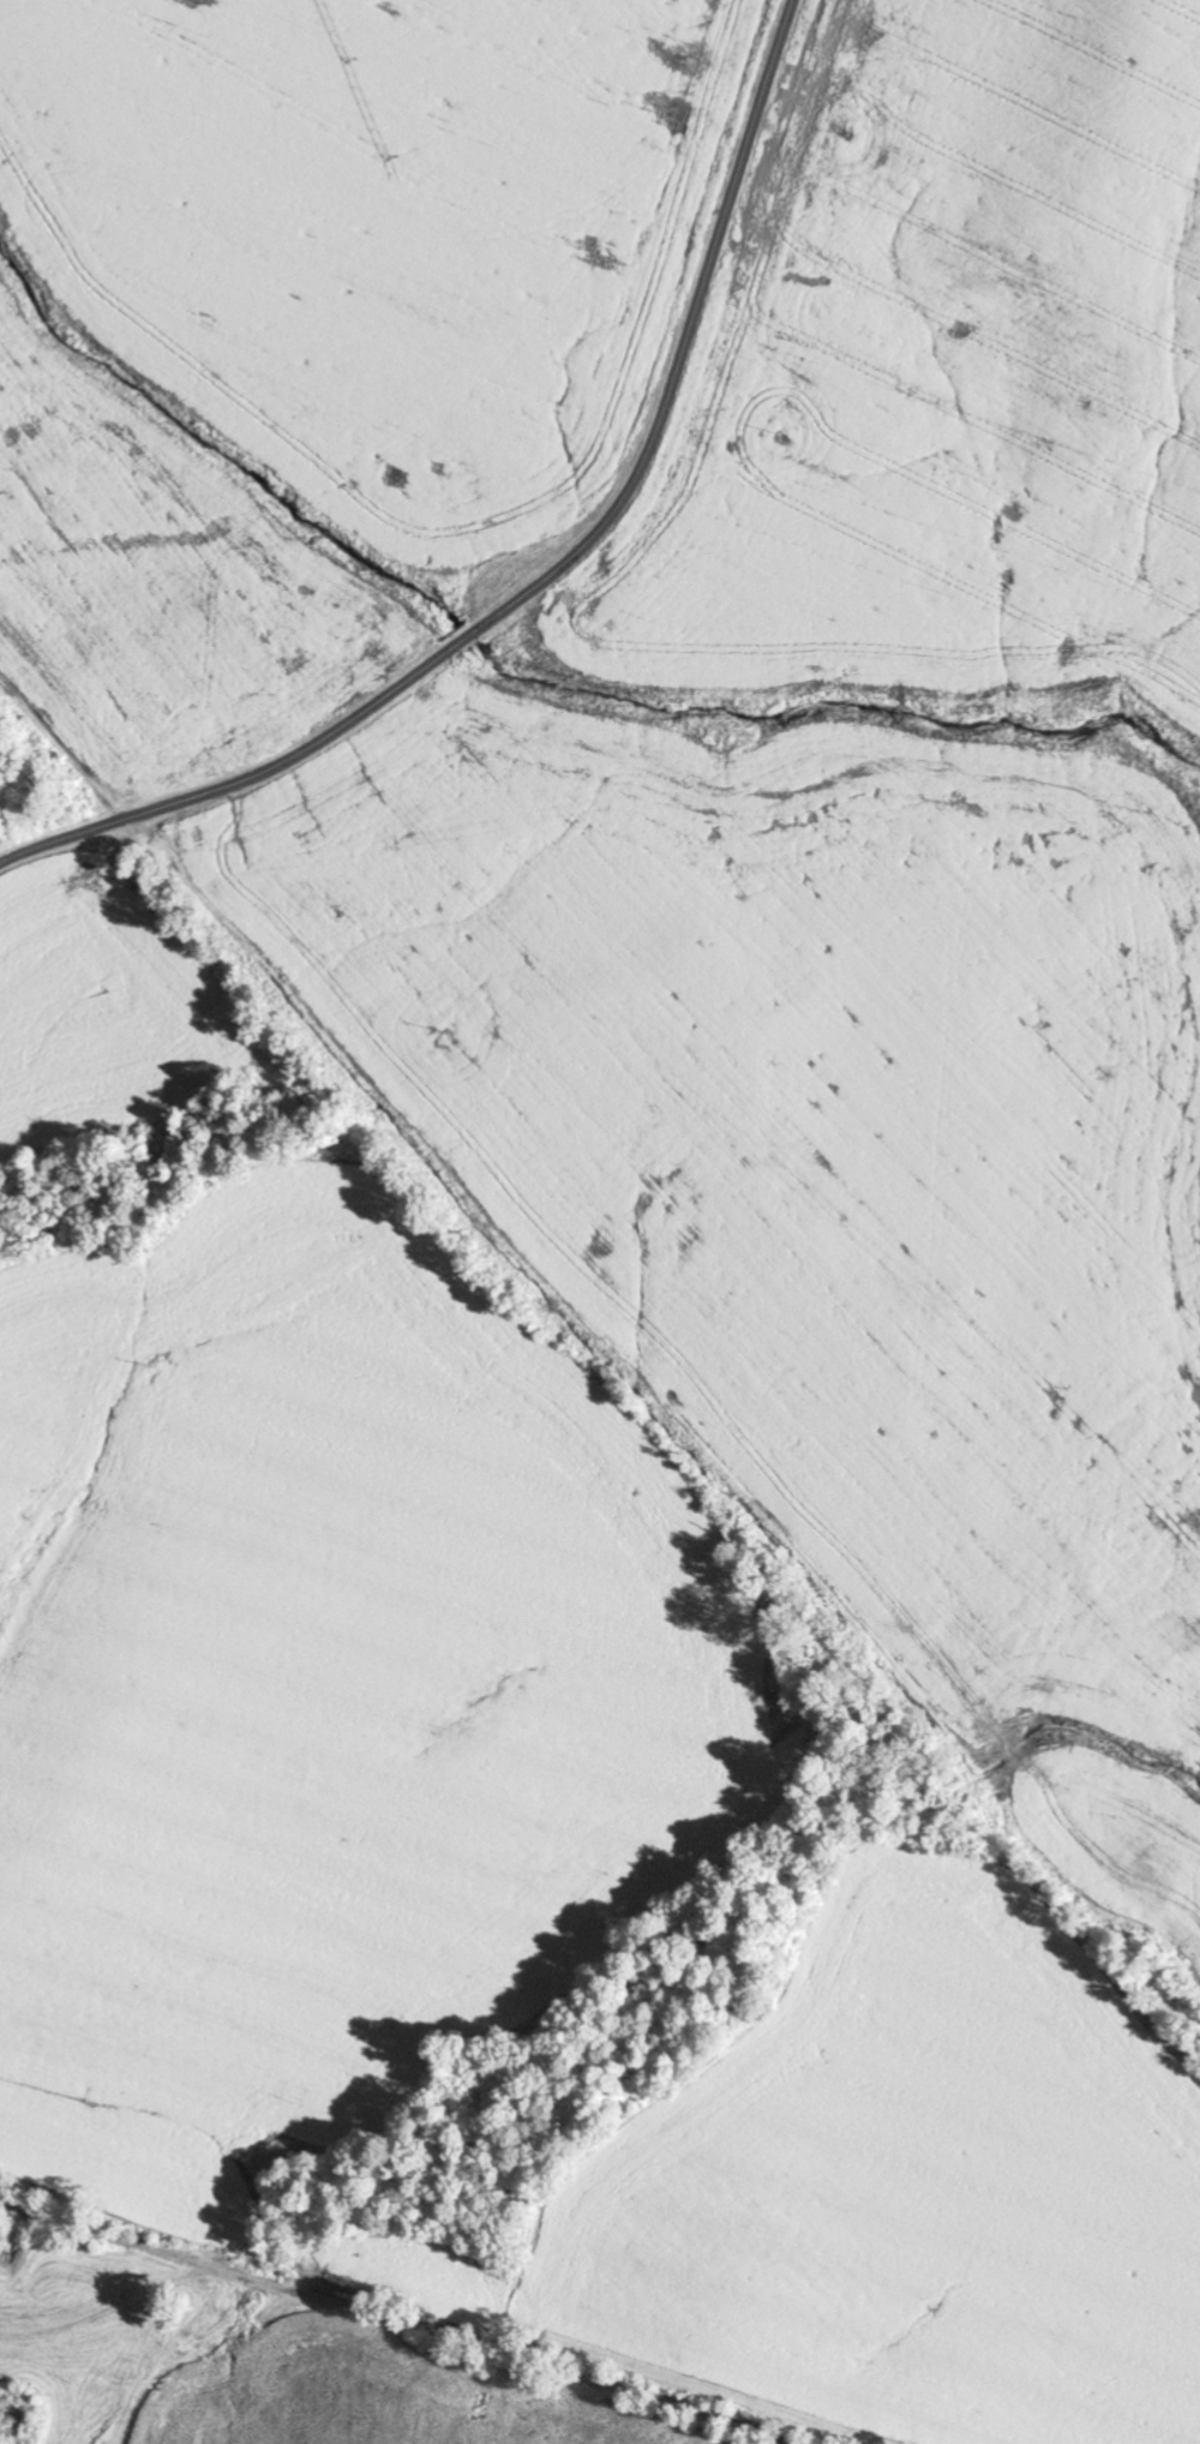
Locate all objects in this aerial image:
road: (553, 574)
road: (397, 2319)

